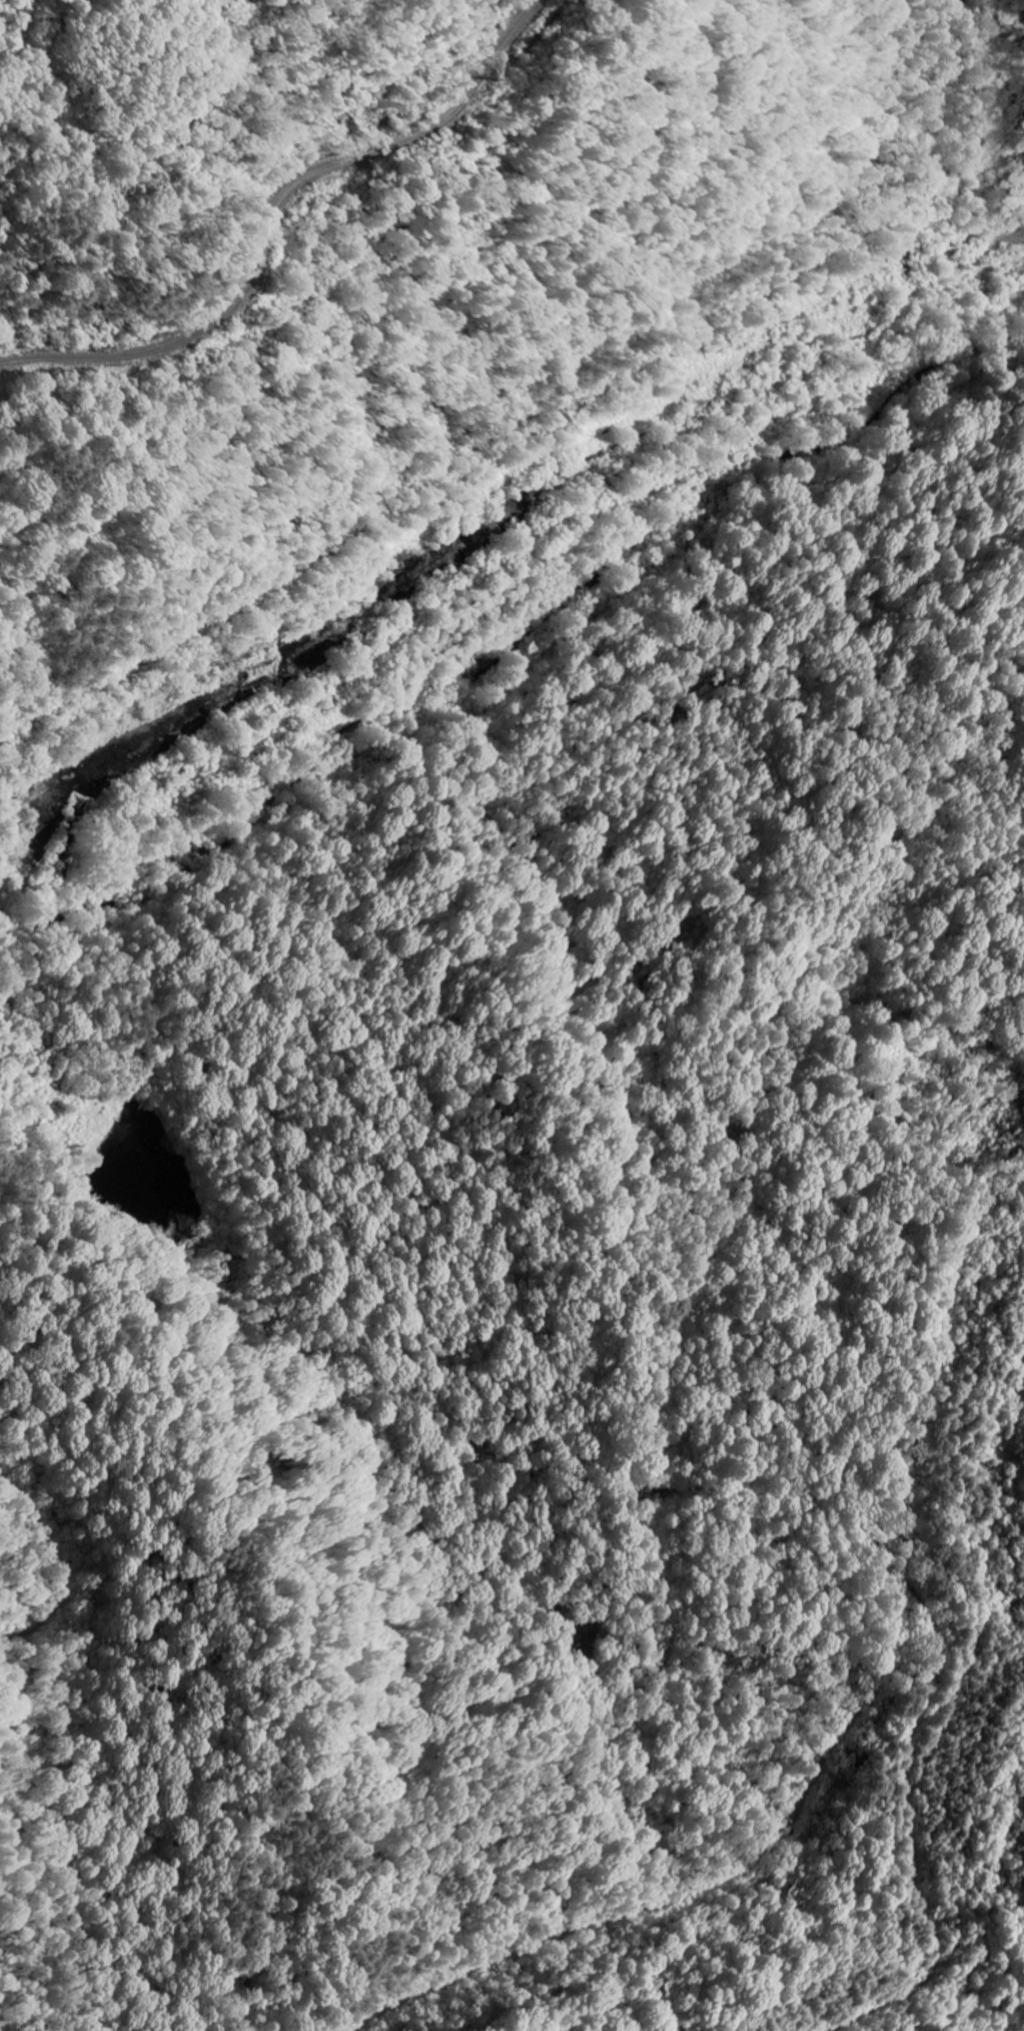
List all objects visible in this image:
road: (290, 226)
road: (50, 1567)
road: (868, 1706)

